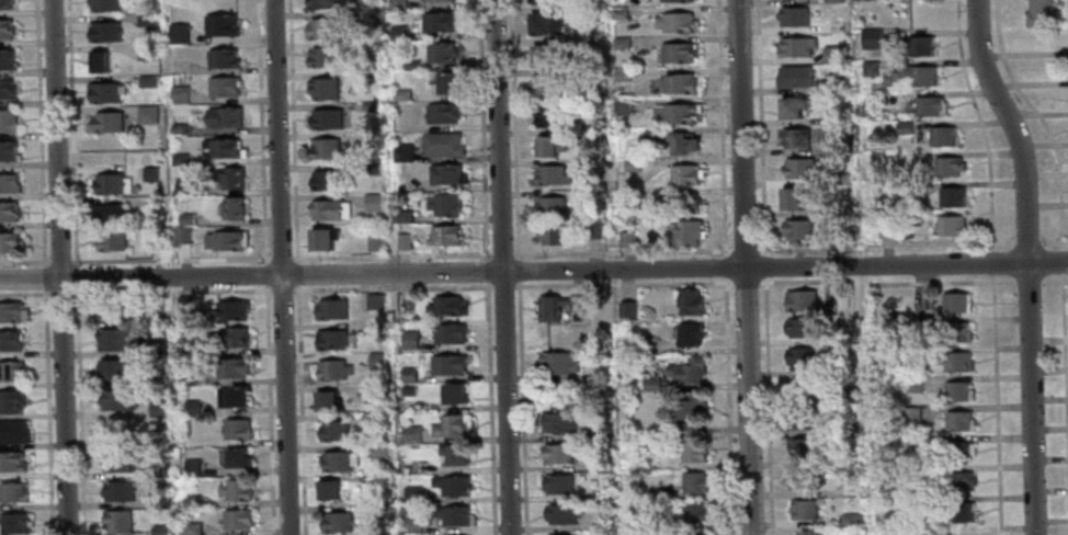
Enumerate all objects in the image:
building: (541, 0)
building: (670, 0)
building: (438, 1)
building: (833, 1)
building: (5, 3)
building: (323, 4)
building: (104, 5)
building: (398, 5)
building: (617, 12)
building: (1039, 12)
building: (588, 14)
building: (792, 15)
building: (146, 21)
building: (673, 21)
building: (544, 22)
building: (439, 24)
building: (834, 26)
building: (223, 27)
building: (5, 30)
building: (104, 31)
building: (323, 31)
building: (398, 34)
building: (180, 35)
building: (870, 38)
building: (620, 42)
building: (588, 43)
building: (917, 44)
building: (795, 45)
building: (674, 52)
building: (146, 53)
building: (542, 53)
building: (442, 54)
building: (831, 54)
building: (323, 59)
building: (7, 60)
building: (225, 60)
building: (99, 64)
building: (412, 67)
building: (868, 68)
building: (917, 73)
building: (620, 75)
building: (793, 76)
building: (893, 76)
building: (884, 80)
building: (833, 81)
building: (147, 82)
building: (677, 82)
building: (546, 84)
building: (443, 86)
building: (225, 89)
building: (7, 90)
building: (323, 91)
building: (105, 93)
building: (181, 95)
building: (401, 95)
building: (888, 98)
building: (590, 104)
building: (791, 104)
building: (927, 104)
building: (621, 106)
building: (371, 109)
building: (673, 112)
building: (442, 115)
building: (148, 116)
building: (547, 116)
building: (837, 116)
building: (226, 118)
road: (1039, 118)
building: (8, 121)
building: (327, 121)
road: (981, 123)
building: (107, 124)
road: (758, 126)
building: (902, 126)
road: (261, 128)
road: (293, 128)
road: (719, 128)
building: (180, 130)
road: (39, 133)
road: (69, 133)
building: (940, 134)
building: (590, 135)
building: (794, 136)
building: (672, 139)
building: (443, 145)
building: (547, 145)
building: (837, 147)
building: (225, 149)
building: (327, 149)
building: (8, 151)
building: (404, 152)
building: (181, 161)
building: (590, 164)
building: (630, 164)
building: (945, 164)
building: (797, 167)
building: (683, 173)
building: (550, 174)
building: (151, 175)
building: (445, 175)
building: (230, 179)
building: (838, 179)
building: (327, 182)
building: (9, 184)
building: (113, 185)
building: (914, 186)
building: (184, 187)
building: (592, 195)
building: (950, 195)
building: (791, 196)
building: (684, 202)
building: (373, 204)
building: (548, 205)
building: (446, 206)
building: (235, 210)
building: (329, 212)
building: (8, 213)
building: (110, 215)
building: (405, 218)
building: (188, 220)
building: (948, 224)
building: (796, 227)
building: (592, 228)
building: (885, 228)
building: (684, 231)
building: (552, 234)
building: (183, 237)
building: (444, 237)
building: (625, 239)
building: (157, 240)
road: (1054, 240)
road: (1026, 241)
building: (112, 242)
building: (225, 242)
building: (322, 242)
building: (404, 242)
building: (9, 243)
building: (374, 243)
road: (884, 243)
road: (743, 250)
road: (621, 251)
road: (405, 255)
road: (281, 257)
road: (294, 257)
road: (170, 259)
road: (297, 260)
road: (23, 261)
road: (58, 261)
road: (265, 261)
road: (1063, 261)
road: (1025, 262)
road: (993, 263)
road: (280, 266)
road: (762, 266)
road: (59, 267)
road: (487, 267)
road: (501, 267)
road: (519, 267)
road: (724, 267)
road: (742, 267)
road: (533, 271)
road: (265, 273)
road: (297, 273)
road: (75, 277)
road: (43, 278)
road: (1027, 281)
road: (1055, 281)
road: (746, 282)
road: (888, 282)
road: (265, 285)
road: (298, 286)
road: (513, 286)
road: (268, 288)
road: (284, 289)
road: (168, 291)
road: (59, 293)
road: (23, 294)
building: (799, 298)
building: (374, 300)
building: (688, 300)
building: (925, 300)
building: (953, 300)
building: (158, 303)
building: (445, 304)
building: (556, 306)
building: (331, 308)
building: (626, 308)
building: (232, 309)
building: (12, 311)
building: (107, 312)
building: (920, 319)
building: (798, 327)
building: (373, 329)
building: (952, 330)
building: (446, 331)
building: (689, 333)
building: (235, 335)
building: (330, 338)
building: (10, 339)
building: (115, 339)
building: (409, 339)
building: (157, 345)
building: (644, 348)
building: (920, 352)
road: (1065, 353)
building: (798, 357)
building: (376, 360)
building: (952, 360)
building: (557, 362)
building: (447, 363)
building: (236, 367)
building: (116, 368)
building: (332, 368)
building: (688, 369)
building: (10, 371)
building: (407, 374)
building: (189, 375)
building: (157, 378)
building: (651, 384)
building: (912, 384)
building: (802, 386)
building: (601, 388)
building: (409, 389)
building: (956, 389)
building: (376, 390)
building: (454, 391)
building: (845, 396)
building: (236, 397)
building: (120, 399)
building: (326, 399)
building: (10, 401)
building: (159, 406)
building: (191, 406)
road: (997, 406)
road: (727, 407)
road: (768, 407)
road: (78, 411)
road: (269, 411)
building: (691, 411)
road: (46, 412)
road: (299, 412)
building: (909, 414)
building: (799, 417)
building: (368, 418)
building: (957, 419)
building: (558, 421)
building: (452, 424)
building: (829, 428)
building: (238, 429)
building: (333, 429)
building: (185, 431)
building: (13, 432)
building: (410, 433)
building: (597, 433)
building: (914, 444)
building: (802, 448)
building: (377, 451)
building: (957, 451)
building: (453, 452)
building: (556, 452)
building: (693, 452)
building: (240, 457)
building: (118, 460)
building: (338, 460)
building: (11, 462)
building: (598, 463)
building: (646, 464)
building: (194, 466)
building: (803, 478)
building: (955, 480)
building: (694, 481)
building: (558, 482)
building: (451, 485)
building: (328, 488)
building: (238, 489)
building: (121, 490)
building: (849, 491)
building: (13, 492)
building: (411, 493)
building: (601, 494)
building: (157, 499)
building: (194, 499)
building: (917, 502)
building: (804, 509)
building: (379, 510)
building: (955, 511)
building: (695, 512)
building: (559, 513)
building: (453, 515)
building: (239, 519)
building: (120, 520)
building: (850, 520)
building: (334, 521)
building: (637, 521)
building: (14, 523)
building: (600, 523)
building: (411, 524)
building: (194, 528)
building: (162, 530)
building: (808, 532)
building: (696, 533)
building: (965, 533)
building: (560, 534)

